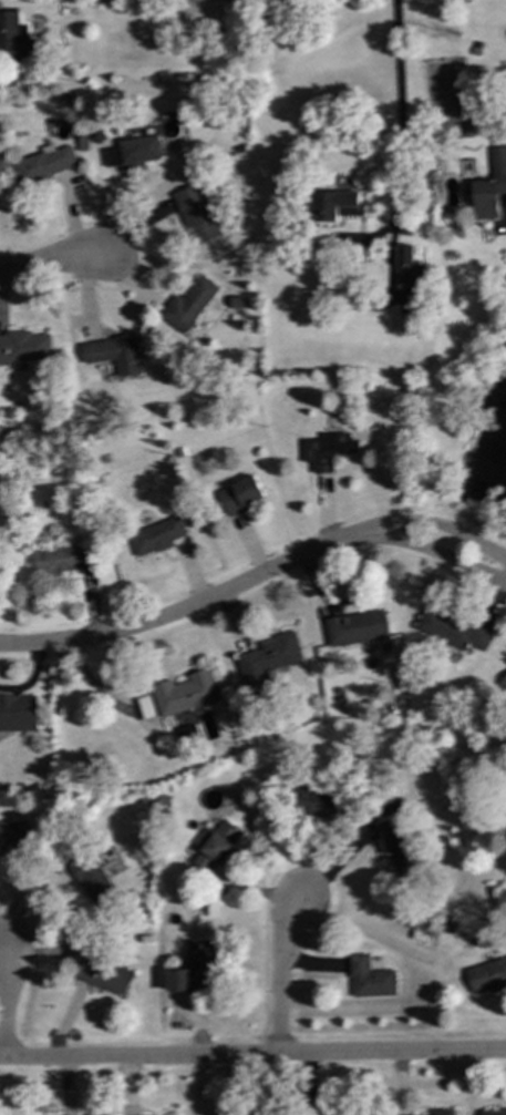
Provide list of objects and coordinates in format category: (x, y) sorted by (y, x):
building: (16, 40)
road: (400, 117)
building: (132, 152)
building: (44, 164)
building: (490, 186)
building: (335, 205)
building: (197, 214)
road: (51, 262)
building: (406, 267)
building: (188, 305)
building: (22, 347)
building: (113, 354)
building: (326, 450)
building: (239, 495)
road: (428, 524)
building: (155, 536)
road: (427, 552)
building: (61, 560)
road: (178, 612)
building: (354, 628)
building: (451, 631)
building: (267, 658)
building: (505, 677)
building: (184, 693)
building: (146, 707)
building: (18, 713)
building: (185, 733)
building: (312, 802)
building: (11, 839)
building: (213, 847)
building: (397, 849)
building: (92, 882)
building: (502, 899)
building: (194, 969)
road: (278, 971)
building: (102, 975)
building: (487, 975)
building: (368, 979)
road: (2, 999)
road: (252, 1054)
building: (441, 1112)
building: (493, 1112)

